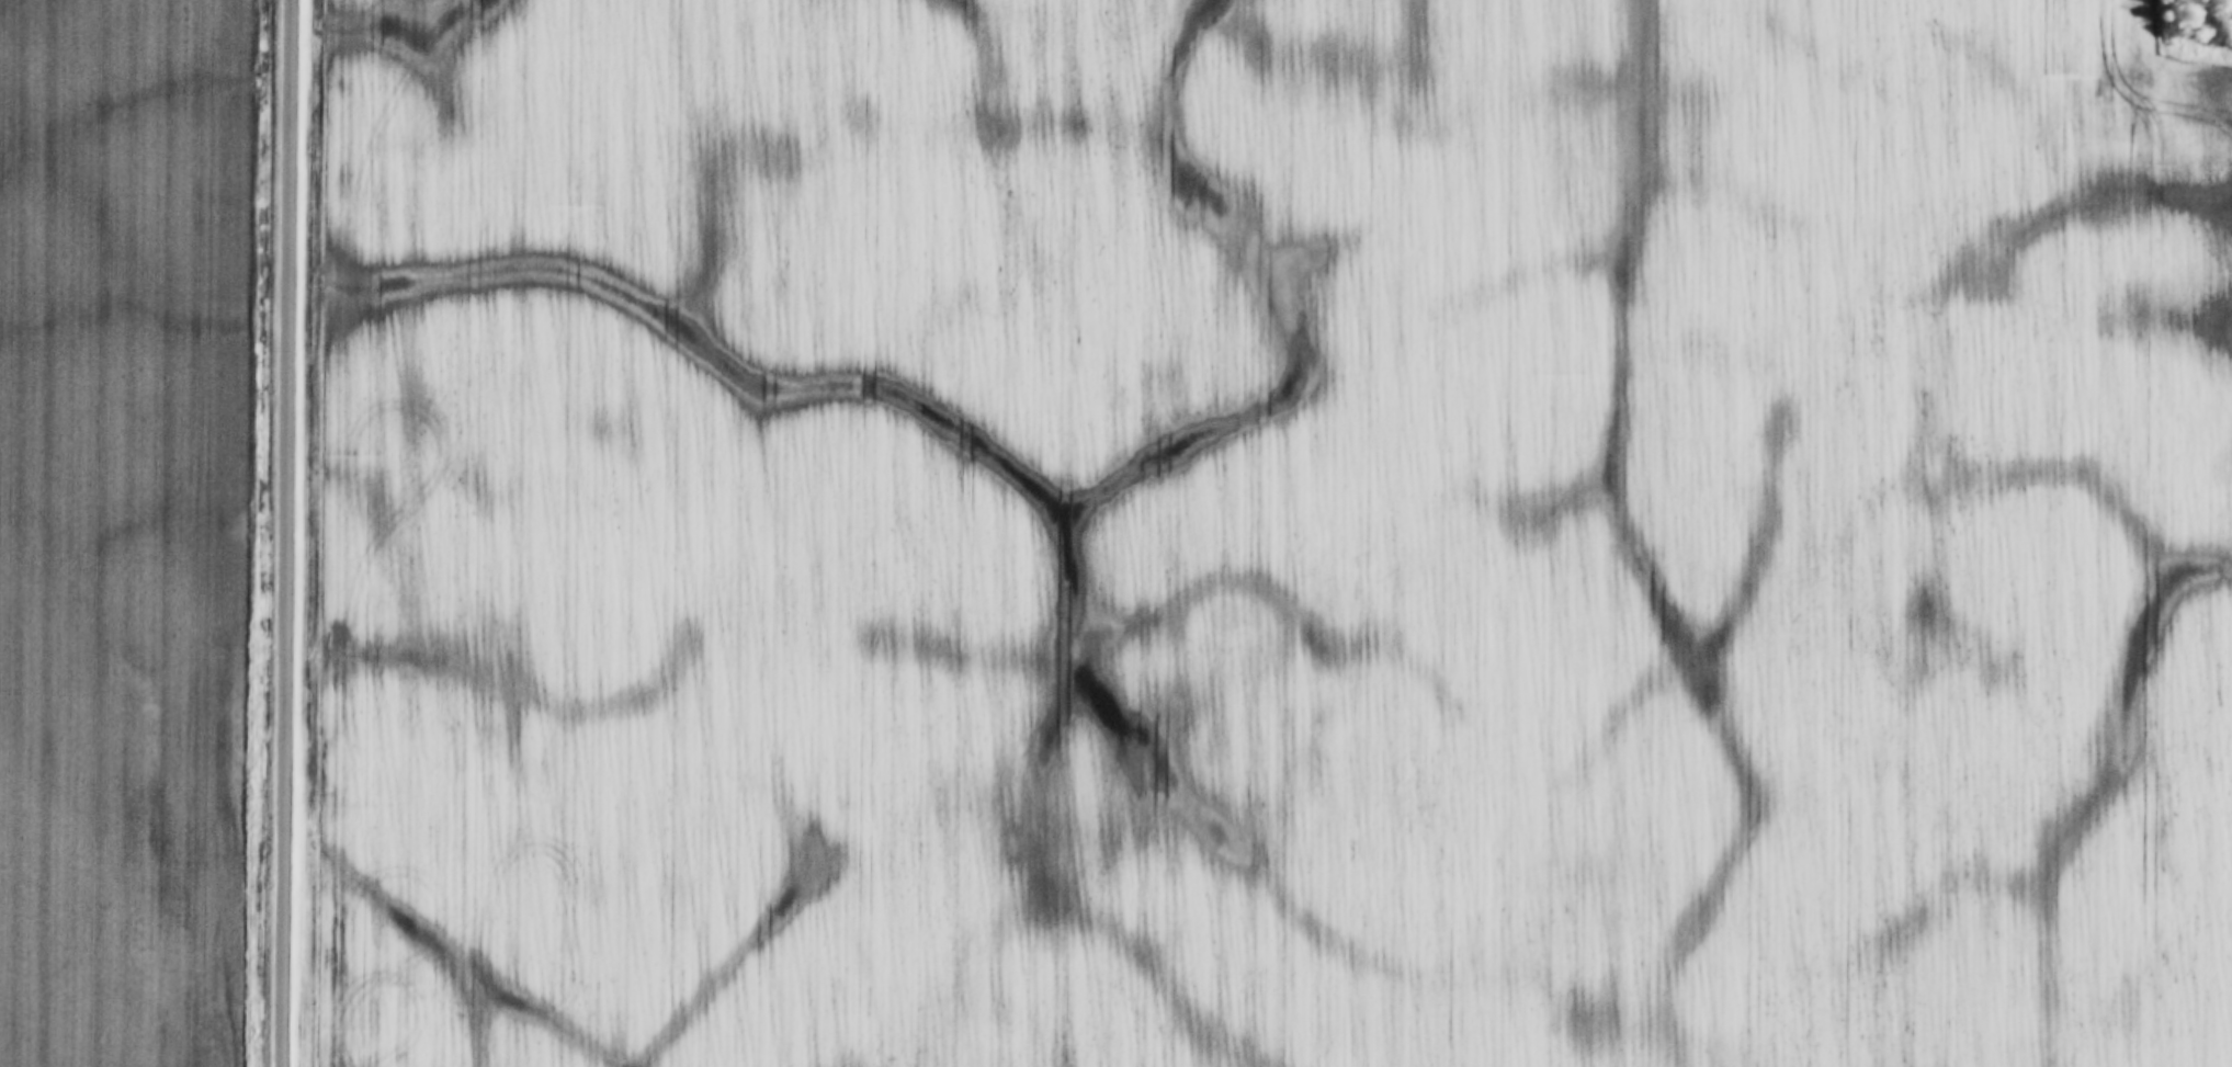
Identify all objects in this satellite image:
road: (288, 533)

